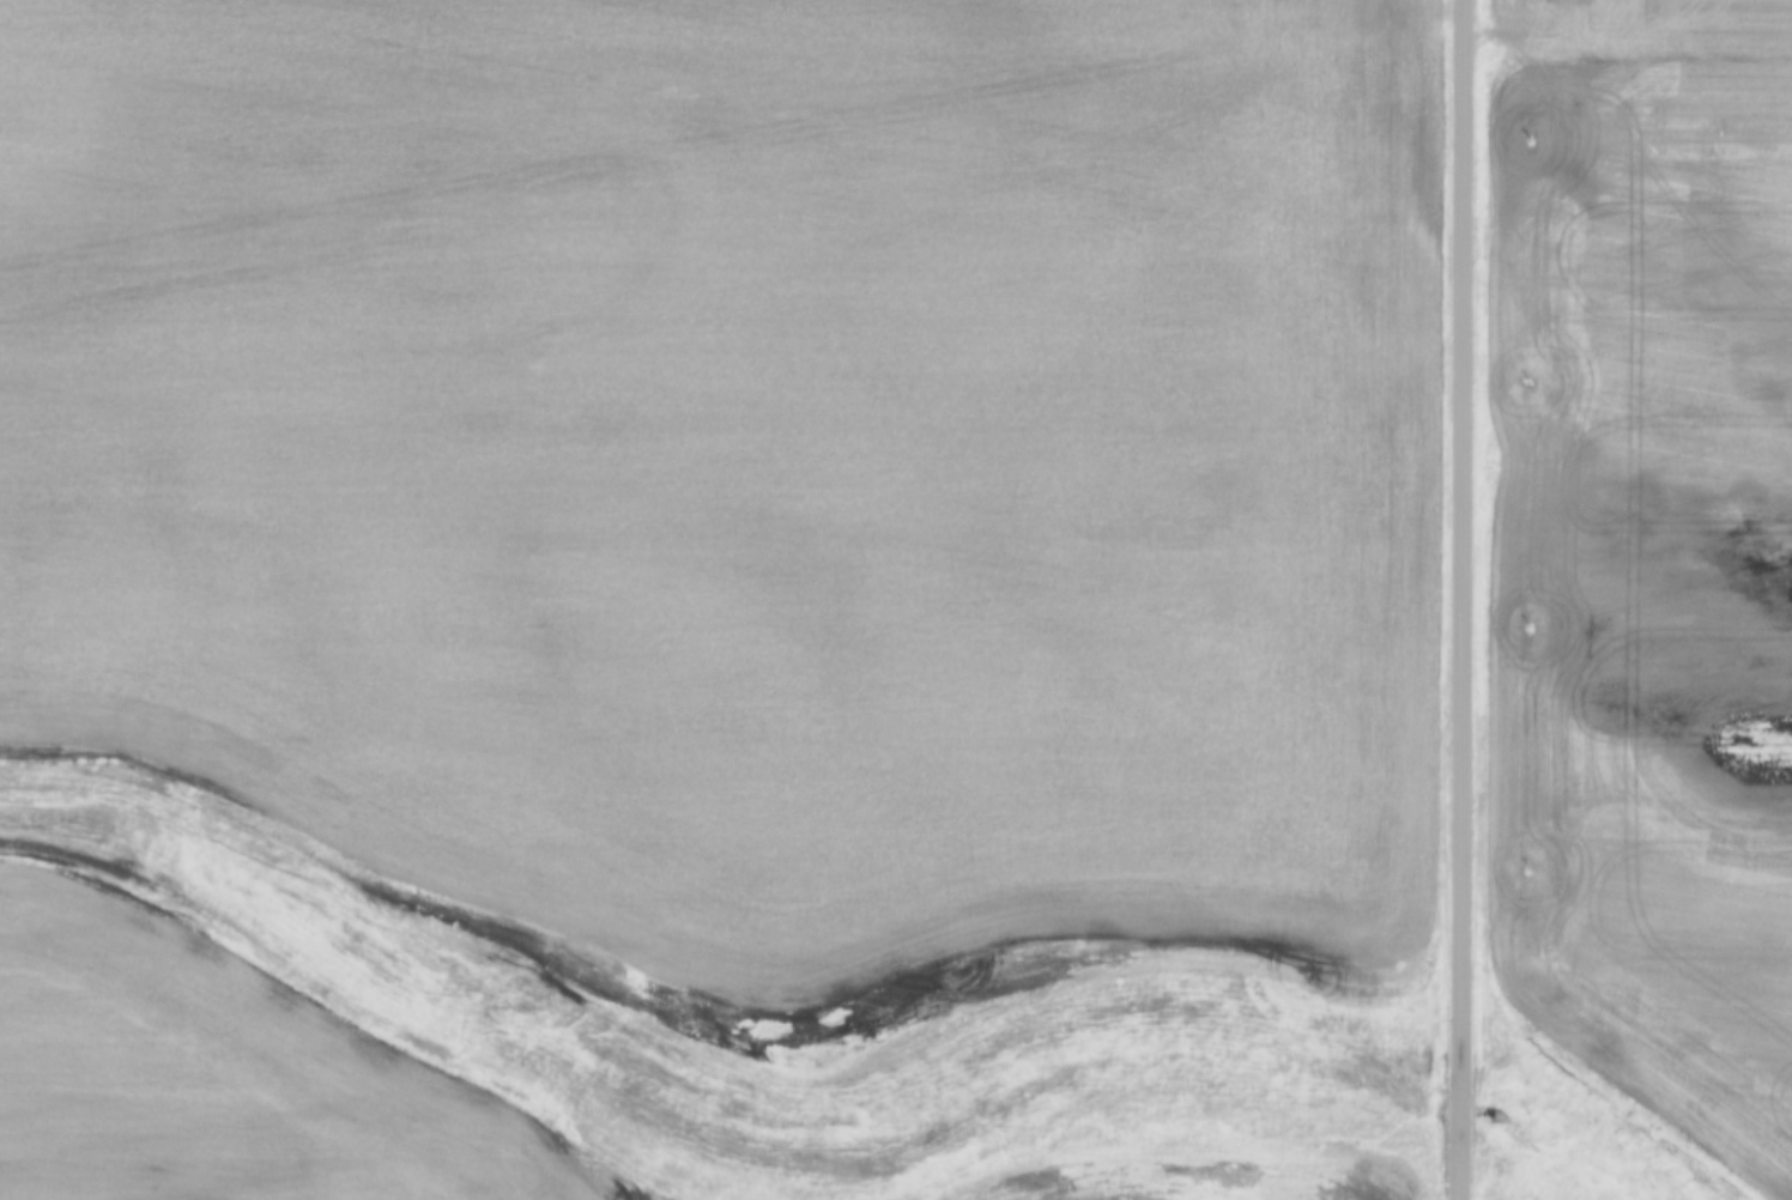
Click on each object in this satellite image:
road: (1466, 599)

